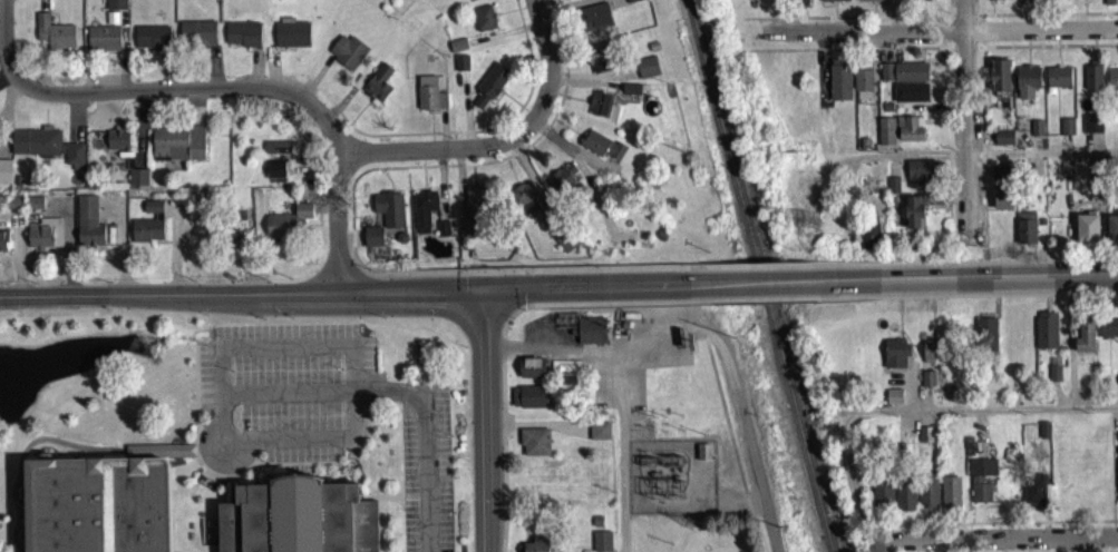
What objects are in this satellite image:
road: (474, 1)
building: (633, 2)
building: (869, 2)
building: (924, 2)
building: (994, 2)
building: (834, 3)
building: (1027, 3)
building: (800, 4)
building: (1110, 4)
road: (40, 6)
building: (115, 8)
road: (574, 9)
road: (944, 13)
road: (978, 13)
road: (1, 19)
road: (961, 20)
road: (1043, 20)
building: (593, 22)
building: (483, 23)
road: (846, 23)
road: (2, 33)
road: (939, 37)
road: (945, 37)
road: (978, 37)
building: (54, 38)
building: (196, 38)
building: (243, 39)
building: (291, 39)
road: (502, 39)
building: (150, 42)
building: (101, 43)
building: (457, 50)
road: (560, 50)
road: (950, 51)
road: (1044, 51)
road: (962, 52)
road: (846, 55)
road: (123, 56)
building: (347, 57)
road: (527, 57)
building: (602, 61)
building: (460, 68)
road: (214, 72)
road: (255, 72)
building: (644, 72)
road: (165, 75)
road: (271, 75)
building: (903, 77)
road: (3, 80)
road: (45, 80)
road: (612, 80)
building: (1091, 81)
road: (315, 82)
building: (862, 82)
building: (1058, 82)
road: (584, 83)
building: (838, 85)
building: (1112, 85)
road: (546, 86)
building: (1027, 86)
building: (378, 88)
building: (1000, 89)
building: (489, 91)
road: (182, 93)
road: (308, 93)
building: (630, 93)
building: (430, 98)
road: (548, 98)
building: (910, 98)
road: (121, 101)
road: (557, 101)
road: (368, 102)
road: (343, 105)
road: (509, 106)
road: (577, 106)
road: (195, 111)
building: (601, 111)
road: (361, 114)
road: (465, 115)
road: (523, 115)
road: (529, 119)
road: (117, 120)
road: (75, 124)
road: (45, 125)
road: (965, 125)
road: (128, 127)
building: (1091, 129)
building: (1066, 131)
road: (138, 134)
building: (910, 134)
building: (1036, 134)
road: (441, 135)
road: (571, 135)
building: (885, 137)
road: (422, 139)
building: (1003, 142)
building: (117, 145)
building: (176, 148)
road: (949, 148)
road: (980, 148)
building: (45, 150)
building: (601, 150)
building: (276, 152)
road: (585, 157)
road: (415, 158)
road: (969, 159)
road: (589, 165)
road: (542, 168)
road: (444, 171)
road: (311, 172)
building: (4, 175)
building: (274, 175)
building: (918, 178)
building: (137, 181)
road: (512, 181)
building: (558, 184)
road: (584, 185)
road: (523, 186)
road: (459, 190)
road: (535, 190)
road: (440, 191)
road: (321, 203)
building: (522, 204)
building: (1001, 204)
building: (13, 209)
building: (35, 209)
building: (475, 209)
building: (388, 215)
building: (424, 215)
building: (917, 215)
power tower: (806, 225)
building: (87, 227)
building: (148, 228)
building: (286, 229)
road: (337, 230)
building: (1111, 233)
building: (1025, 234)
building: (441, 235)
building: (464, 235)
building: (226, 236)
building: (1086, 236)
building: (43, 239)
building: (868, 240)
building: (372, 243)
road: (68, 244)
road: (349, 244)
building: (3, 245)
road: (349, 245)
building: (566, 245)
road: (120, 246)
road: (176, 249)
road: (250, 256)
road: (16, 259)
road: (1051, 267)
road: (931, 269)
road: (360, 274)
road: (706, 274)
railway: (760, 276)
road: (459, 278)
road: (524, 278)
road: (998, 282)
road: (706, 288)
road: (507, 292)
road: (463, 293)
traffic signals: (483, 293)
road: (348, 295)
road: (524, 295)
road: (126, 299)
road: (998, 300)
road: (706, 307)
road: (525, 310)
road: (528, 312)
road: (533, 312)
road: (997, 314)
road: (507, 323)
parking lot: (539, 328)
road: (897, 329)
building: (1108, 332)
road: (931, 334)
building: (591, 336)
building: (1046, 336)
building: (984, 337)
road: (704, 339)
building: (1085, 341)
road: (704, 343)
road: (498, 344)
road: (897, 344)
road: (567, 346)
road: (285, 352)
road: (500, 353)
building: (930, 356)
road: (532, 358)
building: (894, 358)
road: (502, 364)
building: (531, 373)
building: (1053, 378)
road: (911, 384)
building: (927, 385)
road: (407, 390)
parking lot: (281, 398)
building: (528, 402)
building: (893, 402)
road: (926, 404)
road: (484, 408)
road: (917, 416)
road: (725, 423)
road: (195, 431)
road: (536, 431)
building: (599, 436)
building: (925, 440)
building: (534, 446)
road: (280, 448)
road: (222, 451)
road: (26, 453)
road: (620, 453)
building: (159, 456)
road: (162, 456)
building: (702, 456)
road: (503, 459)
road: (193, 462)
parking lot: (425, 469)
road: (184, 474)
building: (1117, 476)
power substation: (672, 482)
building: (981, 485)
road: (11, 495)
building: (1034, 496)
building: (951, 497)
building: (883, 499)
building: (905, 499)
building: (929, 499)
road: (743, 500)
road: (745, 500)
road: (401, 501)
building: (95, 507)
road: (738, 509)
road: (747, 510)
power tower: (694, 521)
road: (749, 521)
building: (293, 522)
building: (596, 526)
road: (754, 535)
road: (483, 539)
building: (539, 542)
road: (992, 542)
building: (600, 544)

